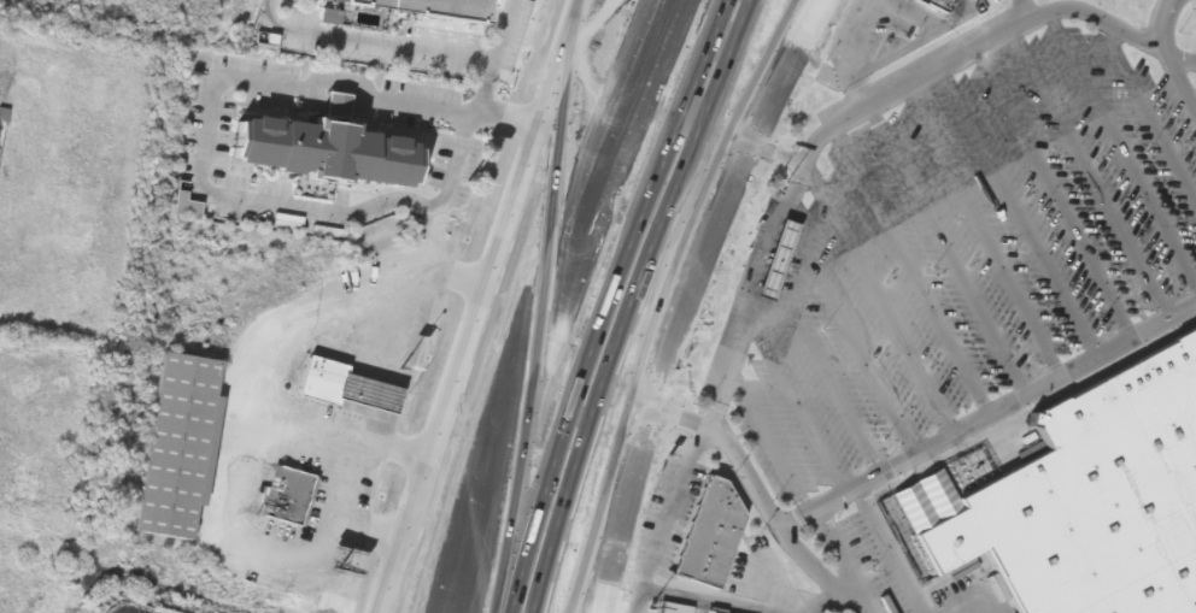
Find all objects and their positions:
building: (940, 4)
building: (429, 14)
road: (1182, 63)
road: (568, 71)
road: (1174, 76)
road: (487, 88)
road: (1150, 111)
road: (866, 116)
road: (1122, 152)
road: (776, 155)
building: (341, 166)
road: (1091, 179)
road: (1057, 196)
road: (1024, 214)
road: (984, 235)
road: (948, 254)
building: (774, 261)
road: (696, 269)
road: (914, 272)
road: (551, 301)
road: (599, 301)
road: (878, 302)
road: (482, 306)
road: (850, 335)
building: (344, 388)
road: (728, 443)
road: (932, 446)
building: (176, 447)
building: (1089, 495)
building: (286, 497)
building: (709, 534)
road: (597, 580)
road: (598, 580)
building: (672, 609)

